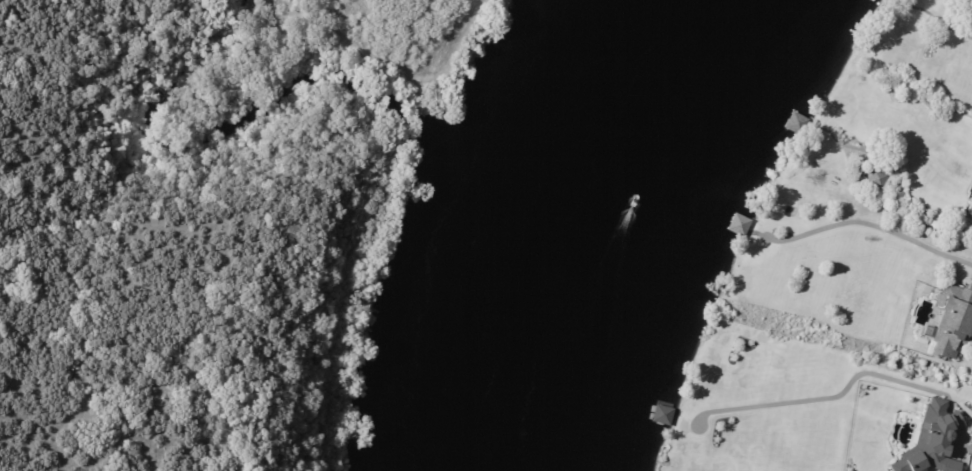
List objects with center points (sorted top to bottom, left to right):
building: (796, 123)
building: (878, 181)
building: (969, 211)
building: (738, 225)
river: (622, 235)
building: (953, 324)
building: (663, 415)
building: (932, 440)

